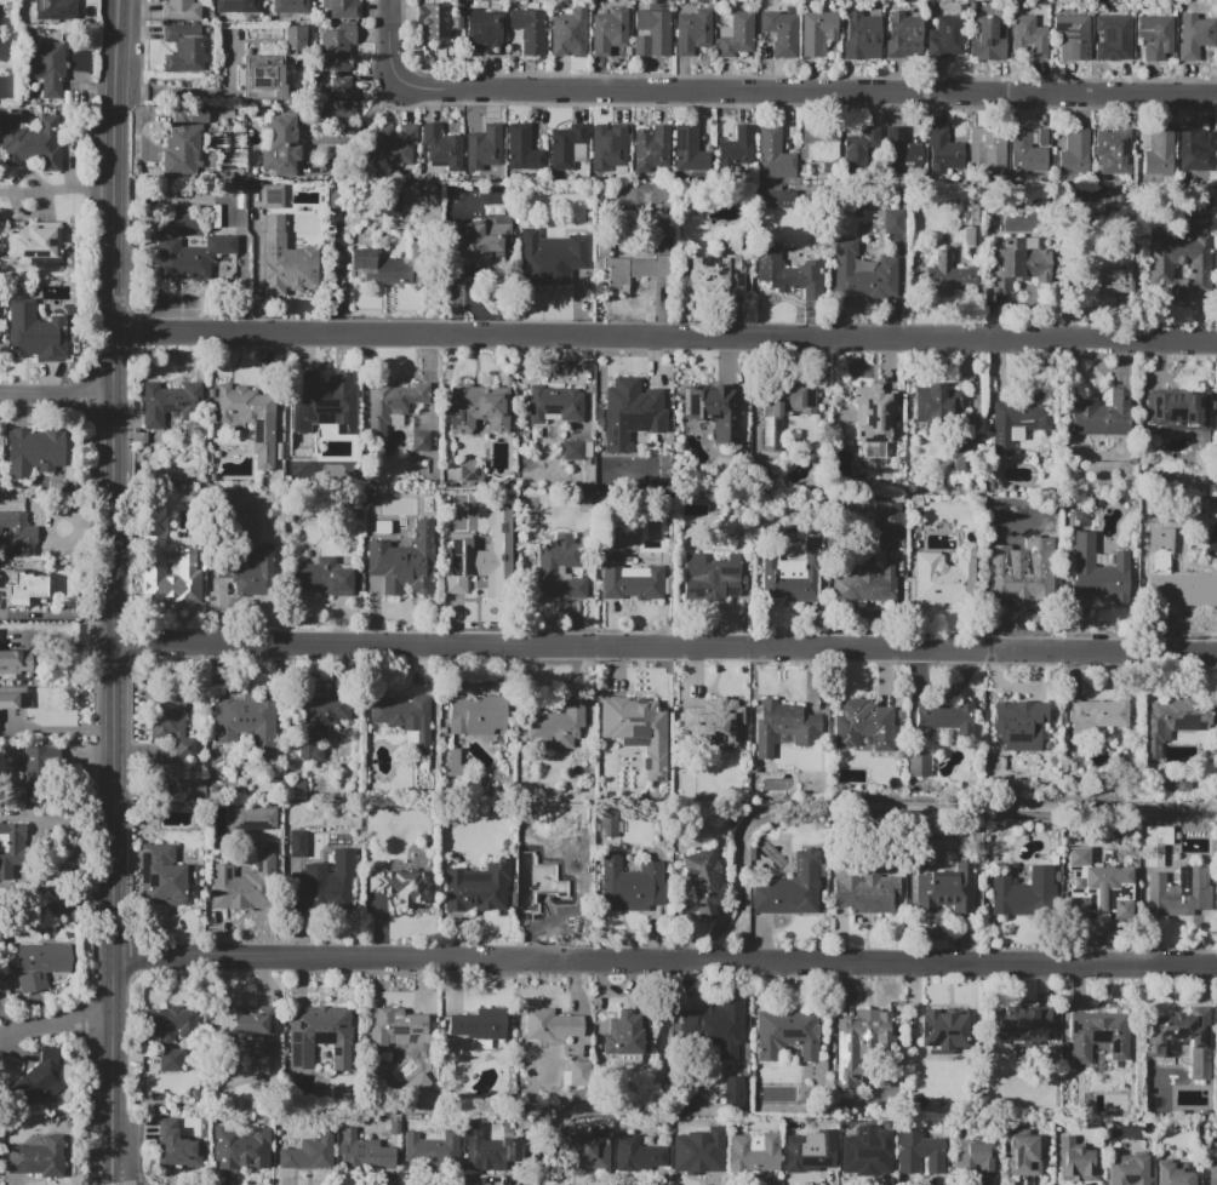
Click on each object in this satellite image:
building: (232, 6)
building: (290, 6)
building: (342, 8)
building: (56, 10)
building: (179, 10)
building: (432, 23)
building: (1023, 24)
building: (484, 30)
building: (527, 32)
building: (566, 32)
building: (608, 32)
building: (692, 32)
building: (989, 32)
building: (817, 33)
building: (858, 33)
building: (898, 33)
building: (949, 33)
building: (650, 34)
building: (779, 34)
building: (737, 35)
building: (1194, 35)
building: (1073, 36)
building: (1114, 36)
building: (1154, 36)
building: (295, 38)
road: (144, 41)
building: (335, 47)
building: (184, 48)
road: (121, 52)
building: (50, 68)
road: (779, 75)
building: (262, 80)
building: (2, 85)
road: (764, 90)
road: (198, 92)
building: (335, 99)
road: (744, 105)
building: (29, 142)
building: (182, 143)
building: (392, 143)
building: (818, 143)
building: (564, 144)
building: (689, 145)
building: (279, 147)
building: (441, 147)
building: (482, 147)
building: (987, 147)
building: (608, 148)
building: (650, 148)
building: (737, 148)
building: (865, 148)
building: (521, 149)
building: (1196, 150)
building: (903, 151)
building: (1025, 151)
building: (943, 153)
building: (1113, 153)
building: (1159, 153)
road: (336, 154)
building: (772, 154)
building: (1073, 154)
road: (120, 176)
road: (59, 189)
building: (645, 194)
building: (270, 195)
building: (777, 199)
building: (895, 222)
building: (34, 241)
building: (481, 241)
building: (189, 254)
building: (285, 258)
building: (1165, 258)
building: (544, 262)
building: (632, 263)
building: (383, 265)
building: (1019, 265)
building: (937, 271)
building: (863, 274)
building: (716, 275)
building: (805, 277)
building: (1110, 284)
building: (35, 333)
road: (668, 338)
road: (58, 395)
building: (321, 401)
building: (390, 401)
building: (172, 405)
building: (937, 405)
building: (555, 406)
building: (714, 408)
building: (1181, 410)
building: (476, 411)
building: (632, 412)
building: (872, 413)
building: (1101, 414)
building: (250, 417)
building: (1022, 422)
building: (771, 430)
building: (421, 441)
road: (118, 442)
building: (576, 450)
building: (35, 451)
building: (962, 454)
building: (916, 502)
building: (890, 520)
building: (17, 532)
building: (1212, 537)
building: (158, 549)
building: (404, 562)
building: (794, 569)
building: (545, 572)
building: (1097, 572)
building: (252, 574)
building: (470, 576)
building: (709, 576)
building: (322, 577)
building: (628, 577)
building: (944, 577)
building: (863, 588)
building: (1184, 588)
building: (25, 589)
building: (1023, 589)
road: (665, 643)
building: (15, 659)
building: (12, 697)
building: (476, 714)
building: (707, 716)
building: (1097, 716)
building: (948, 717)
building: (404, 719)
building: (245, 720)
building: (316, 722)
building: (865, 722)
building: (170, 723)
building: (1171, 723)
building: (560, 725)
building: (1018, 725)
building: (784, 726)
building: (636, 729)
road: (52, 731)
building: (919, 763)
building: (35, 768)
building: (162, 772)
road: (112, 797)
building: (252, 818)
building: (607, 822)
building: (296, 842)
building: (11, 848)
building: (162, 875)
building: (627, 877)
building: (704, 882)
building: (325, 883)
building: (402, 887)
building: (478, 887)
building: (943, 887)
building: (234, 888)
building: (790, 888)
building: (1023, 889)
building: (1098, 891)
building: (862, 892)
building: (555, 893)
building: (1179, 893)
building: (44, 906)
road: (55, 910)
road: (663, 955)
building: (41, 963)
road: (53, 1020)
building: (479, 1021)
building: (394, 1024)
building: (549, 1024)
building: (708, 1027)
building: (1019, 1027)
building: (938, 1030)
building: (630, 1031)
building: (247, 1032)
building: (165, 1035)
building: (319, 1035)
building: (785, 1035)
building: (1187, 1037)
building: (862, 1044)
building: (1118, 1046)
road: (109, 1070)
building: (577, 1074)
building: (39, 1080)
building: (732, 1092)
building: (240, 1147)
building: (429, 1149)
building: (177, 1150)
building: (487, 1150)
building: (364, 1151)
building: (698, 1151)
building: (810, 1151)
building: (308, 1152)
building: (919, 1152)
building: (635, 1153)
building: (753, 1155)
building: (584, 1156)
building: (1022, 1156)
building: (861, 1157)
building: (38, 1158)
building: (978, 1160)
building: (1075, 1162)
building: (1211, 1169)
building: (1129, 1172)
building: (1171, 1175)

